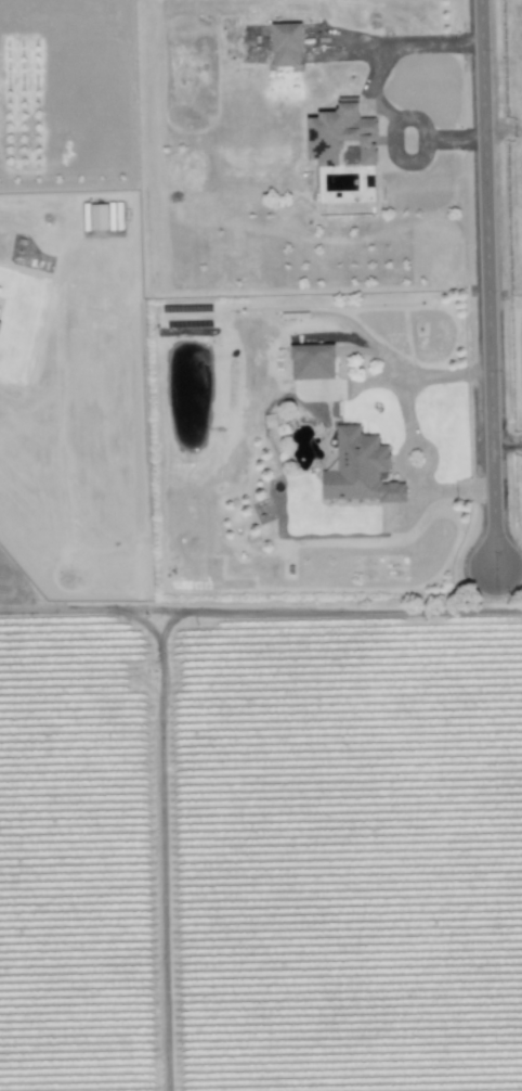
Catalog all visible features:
road: (405, 44)
building: (286, 46)
building: (340, 134)
building: (110, 216)
building: (99, 217)
road: (485, 288)
building: (312, 361)
road: (412, 446)
building: (358, 470)
road: (445, 491)
road: (406, 514)
road: (261, 606)

